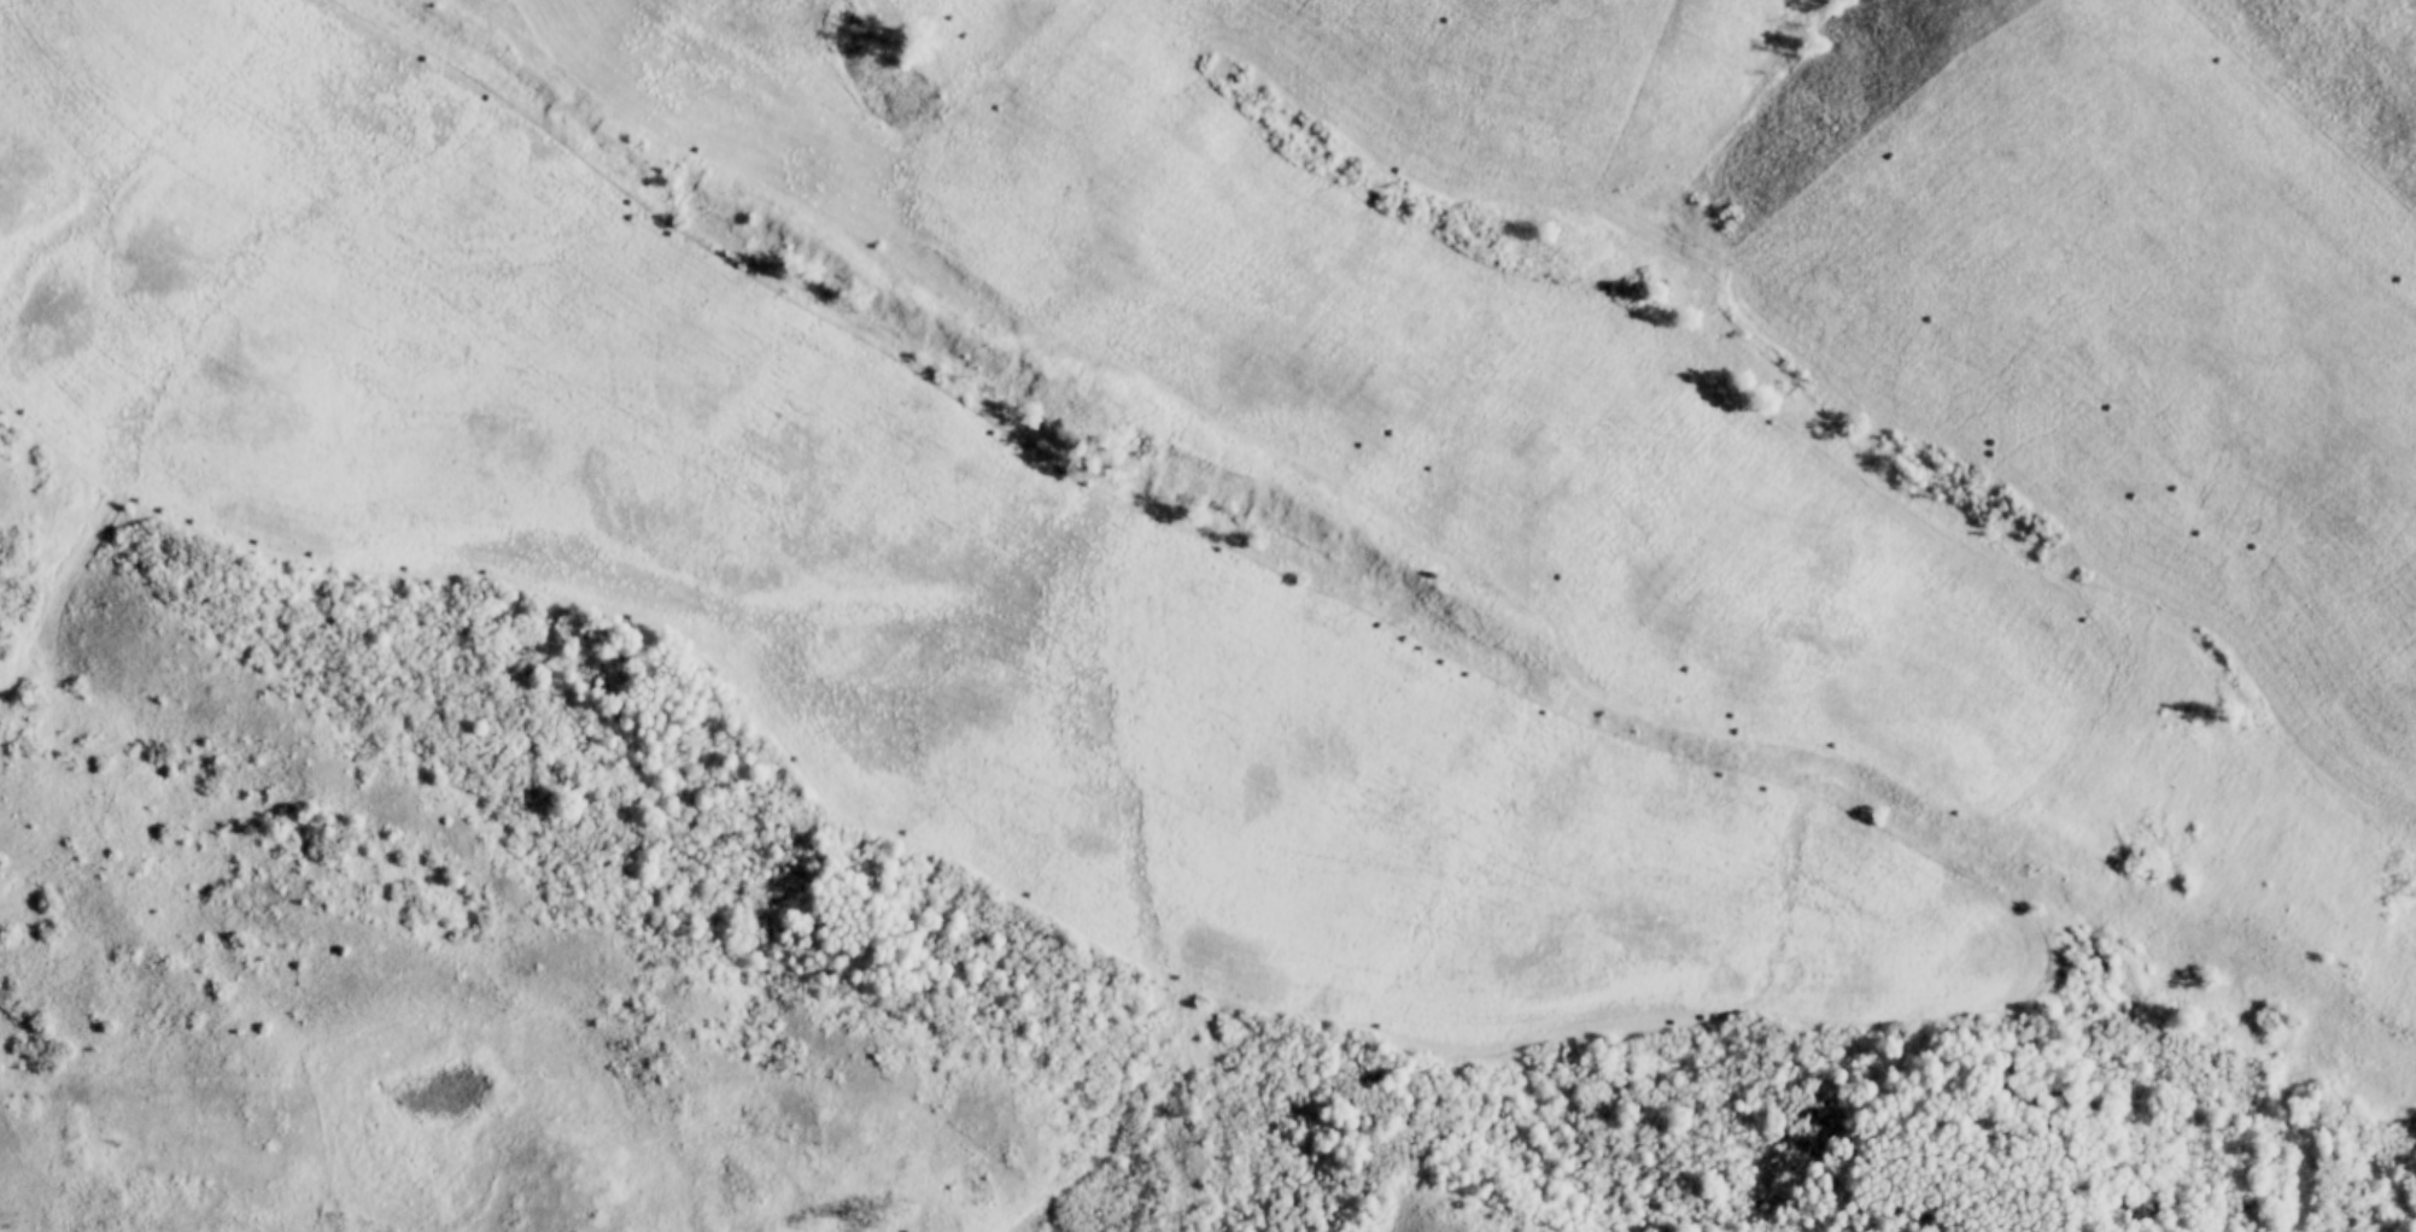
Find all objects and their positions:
road: (1783, 54)
quarry: (2321, 81)

